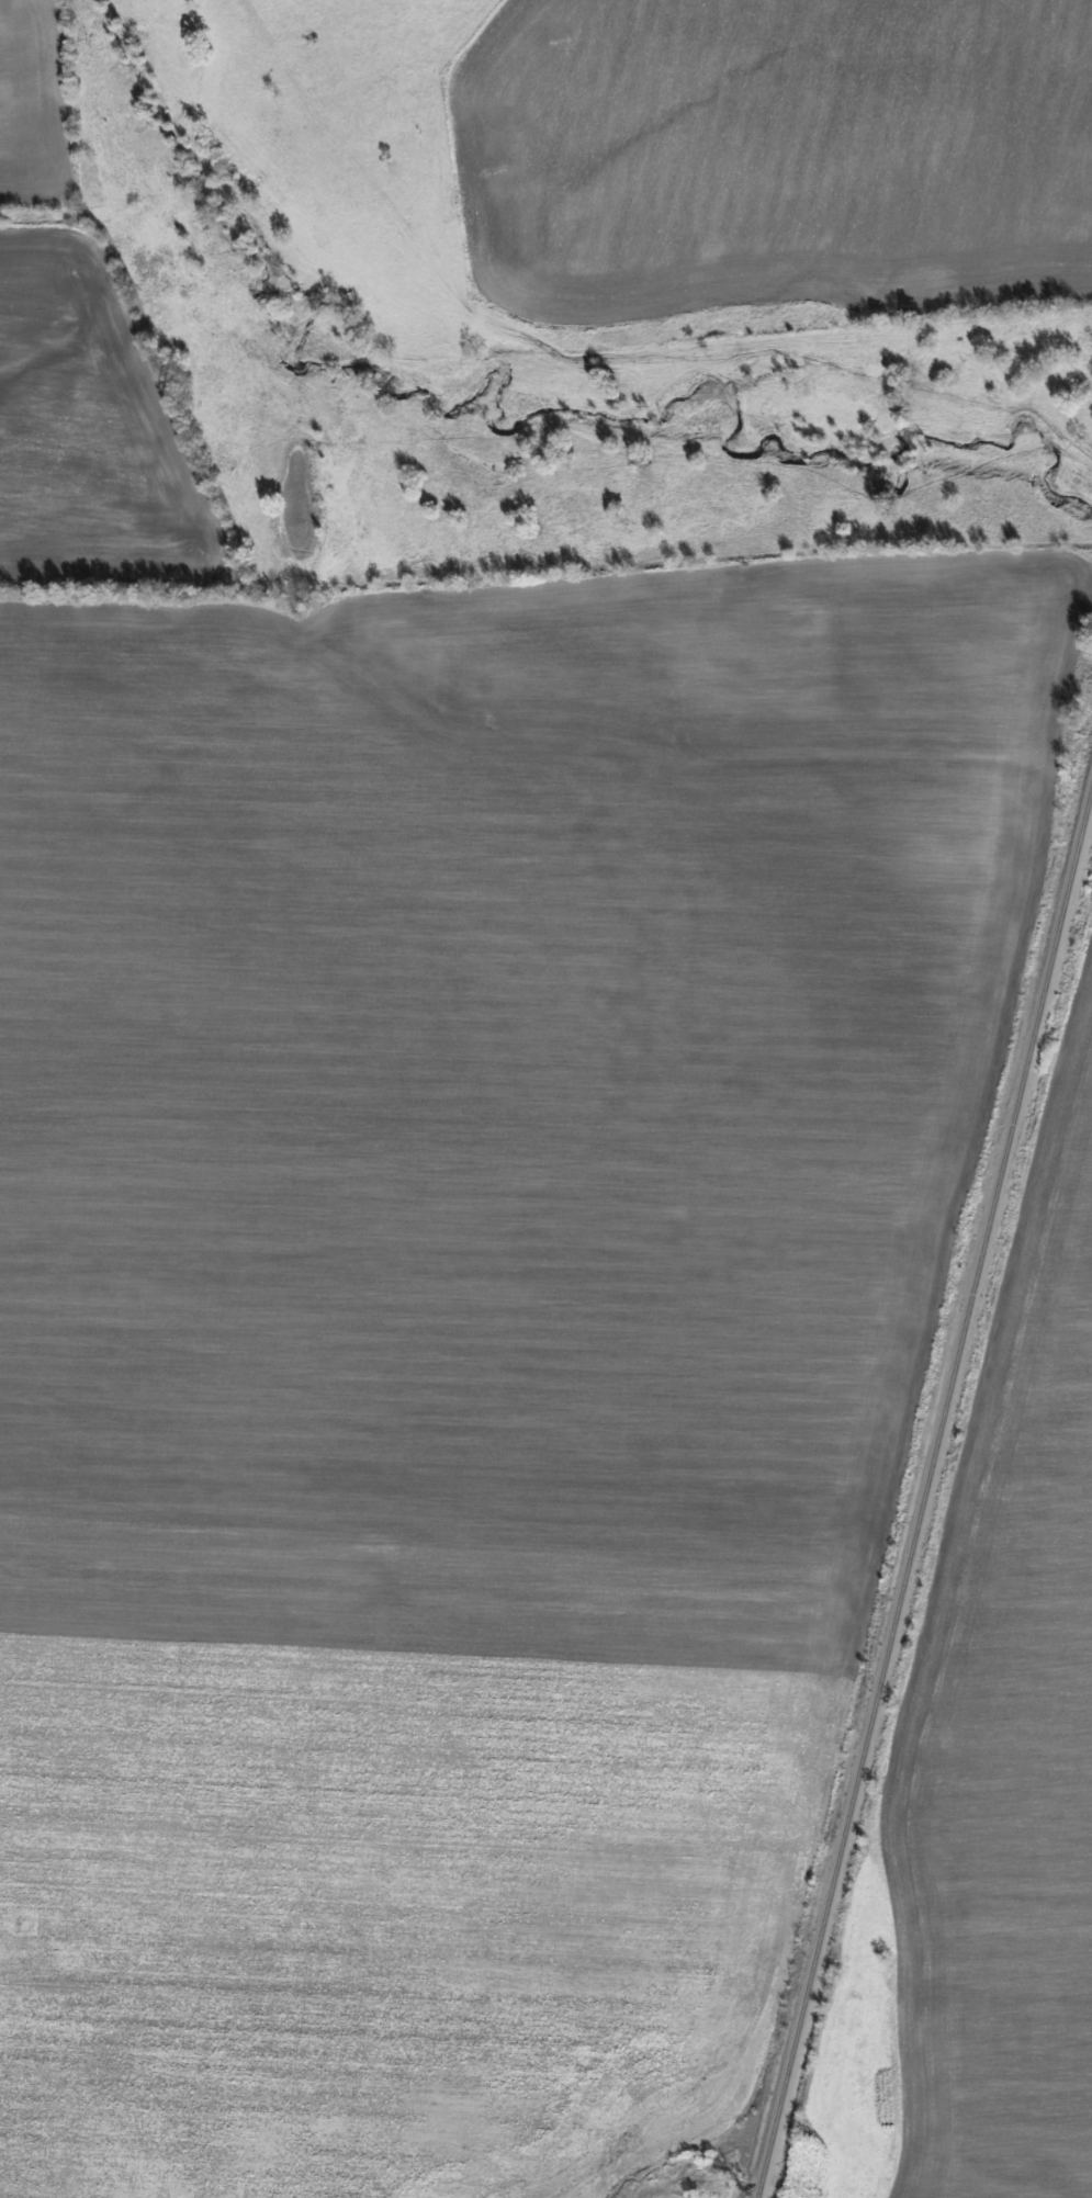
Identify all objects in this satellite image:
railway: (925, 1497)

